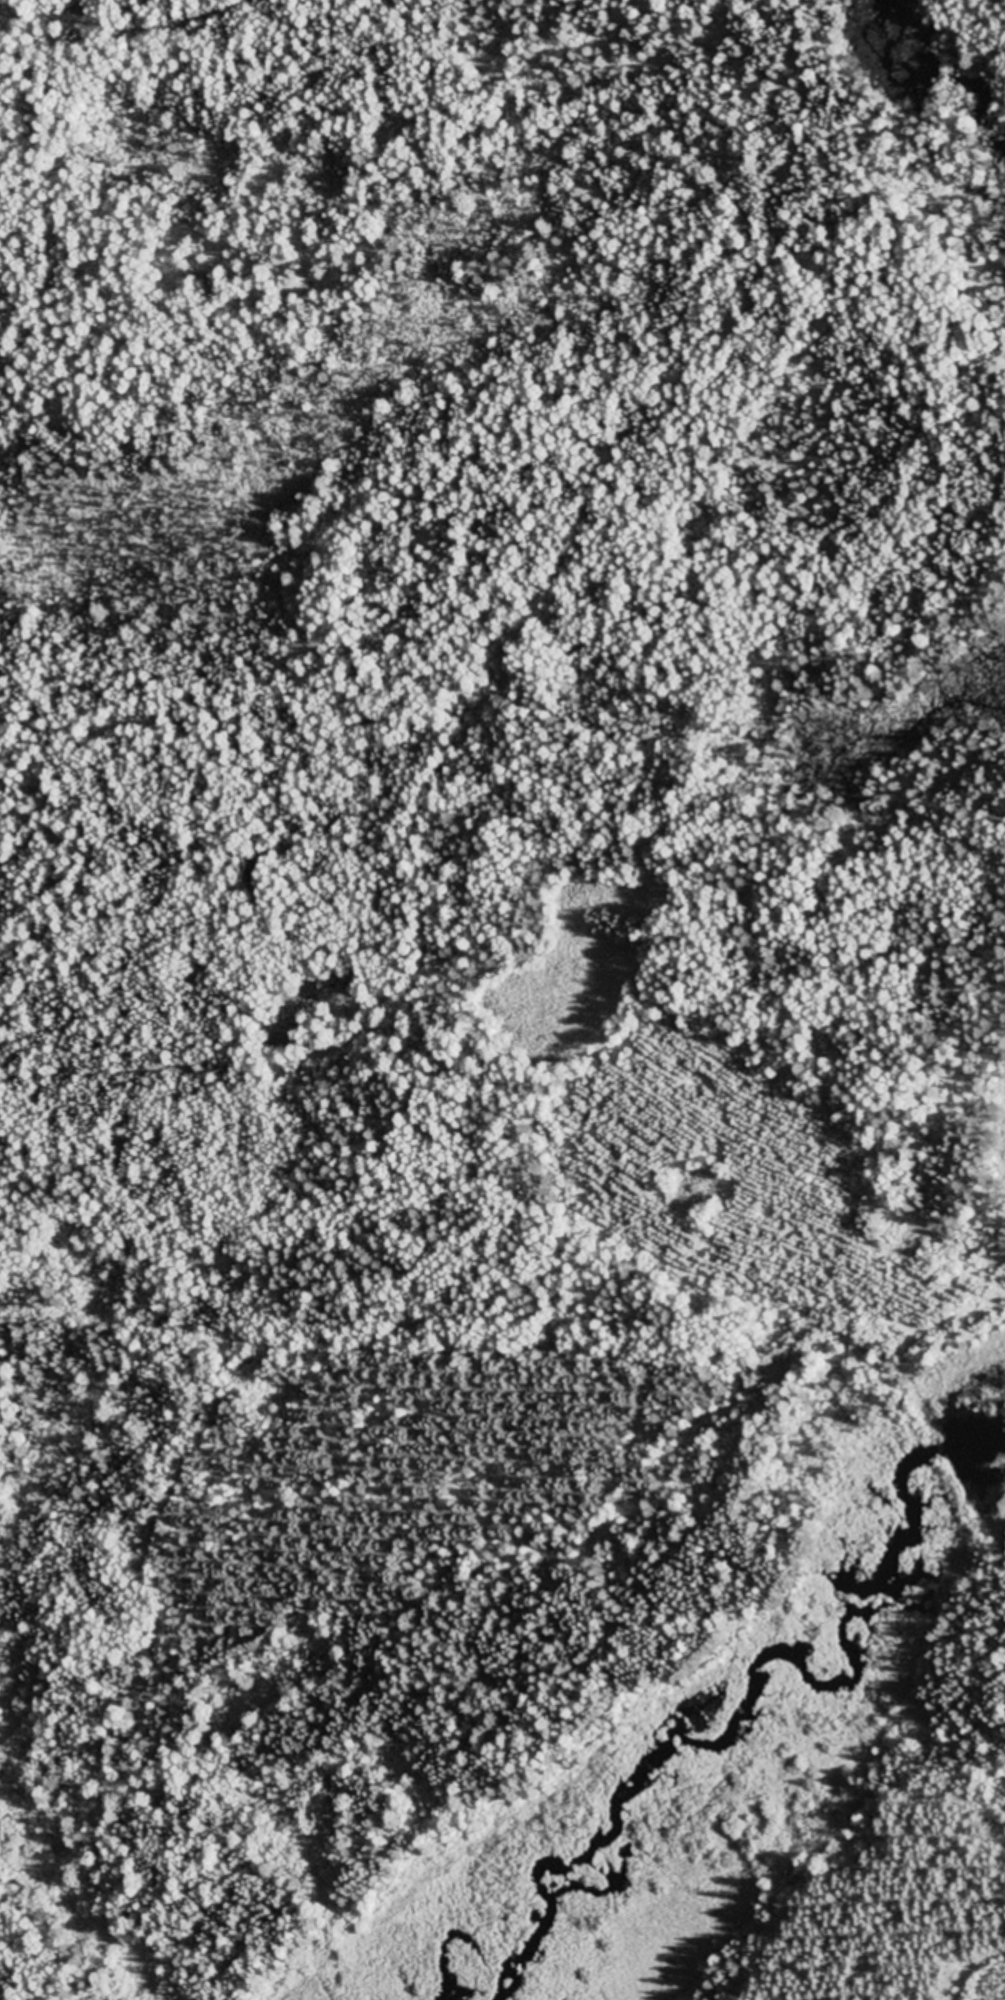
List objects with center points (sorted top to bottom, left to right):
road: (139, 34)
road: (364, 1022)
road: (503, 1324)

